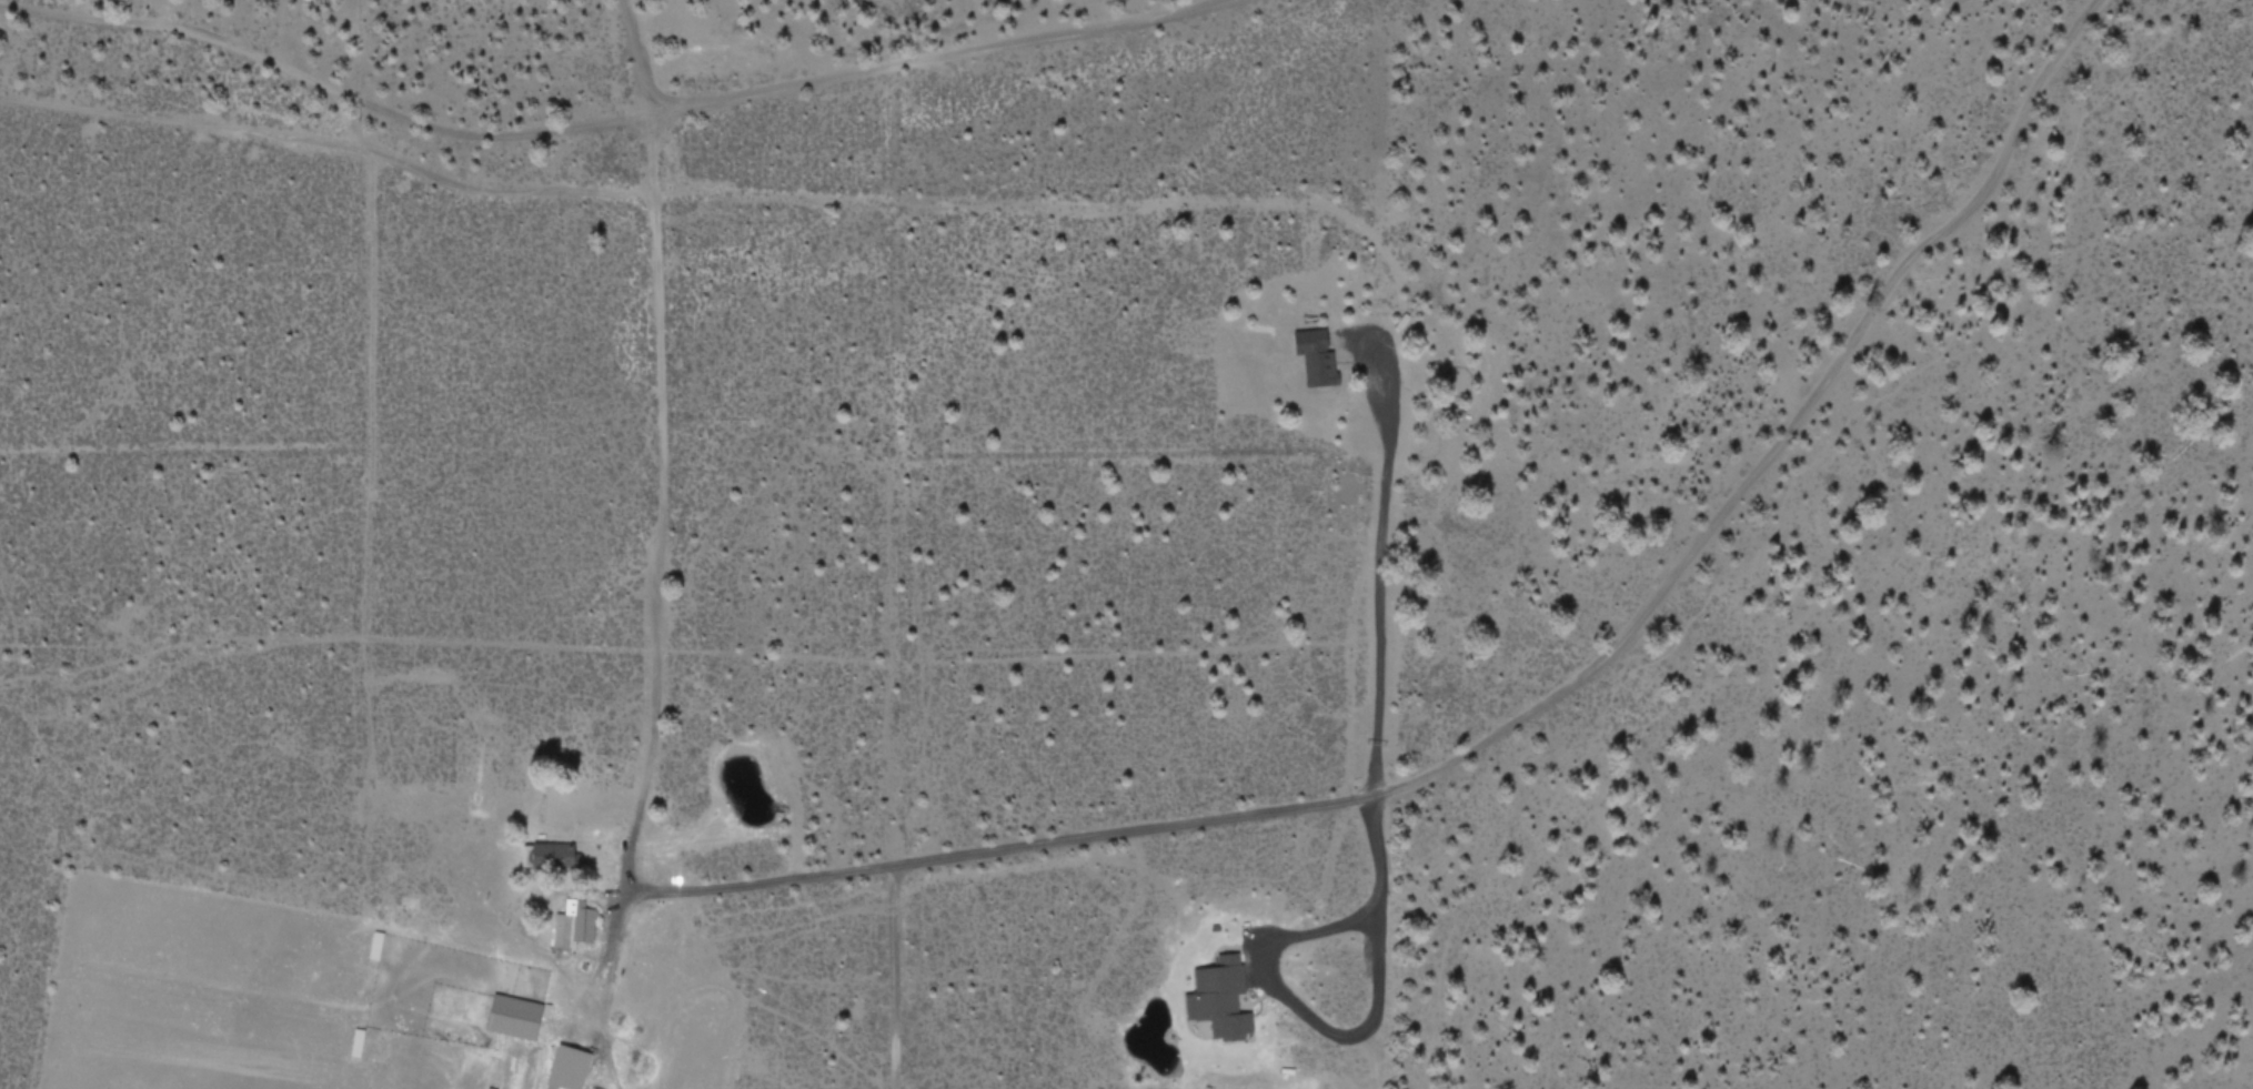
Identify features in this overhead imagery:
road: (603, 124)
building: (1315, 356)
road: (1627, 634)
building: (553, 856)
road: (621, 884)
road: (755, 886)
building: (569, 906)
building: (583, 924)
road: (891, 977)
building: (1219, 998)
building: (515, 1016)
road: (600, 1030)
building: (567, 1068)

